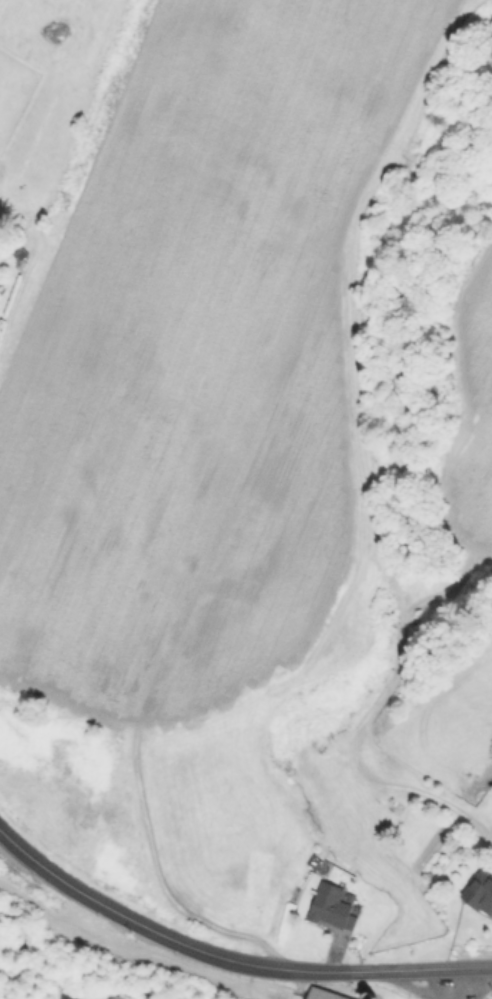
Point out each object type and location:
building: (479, 892)
building: (331, 905)
road: (228, 956)
road: (301, 983)
building: (322, 994)

